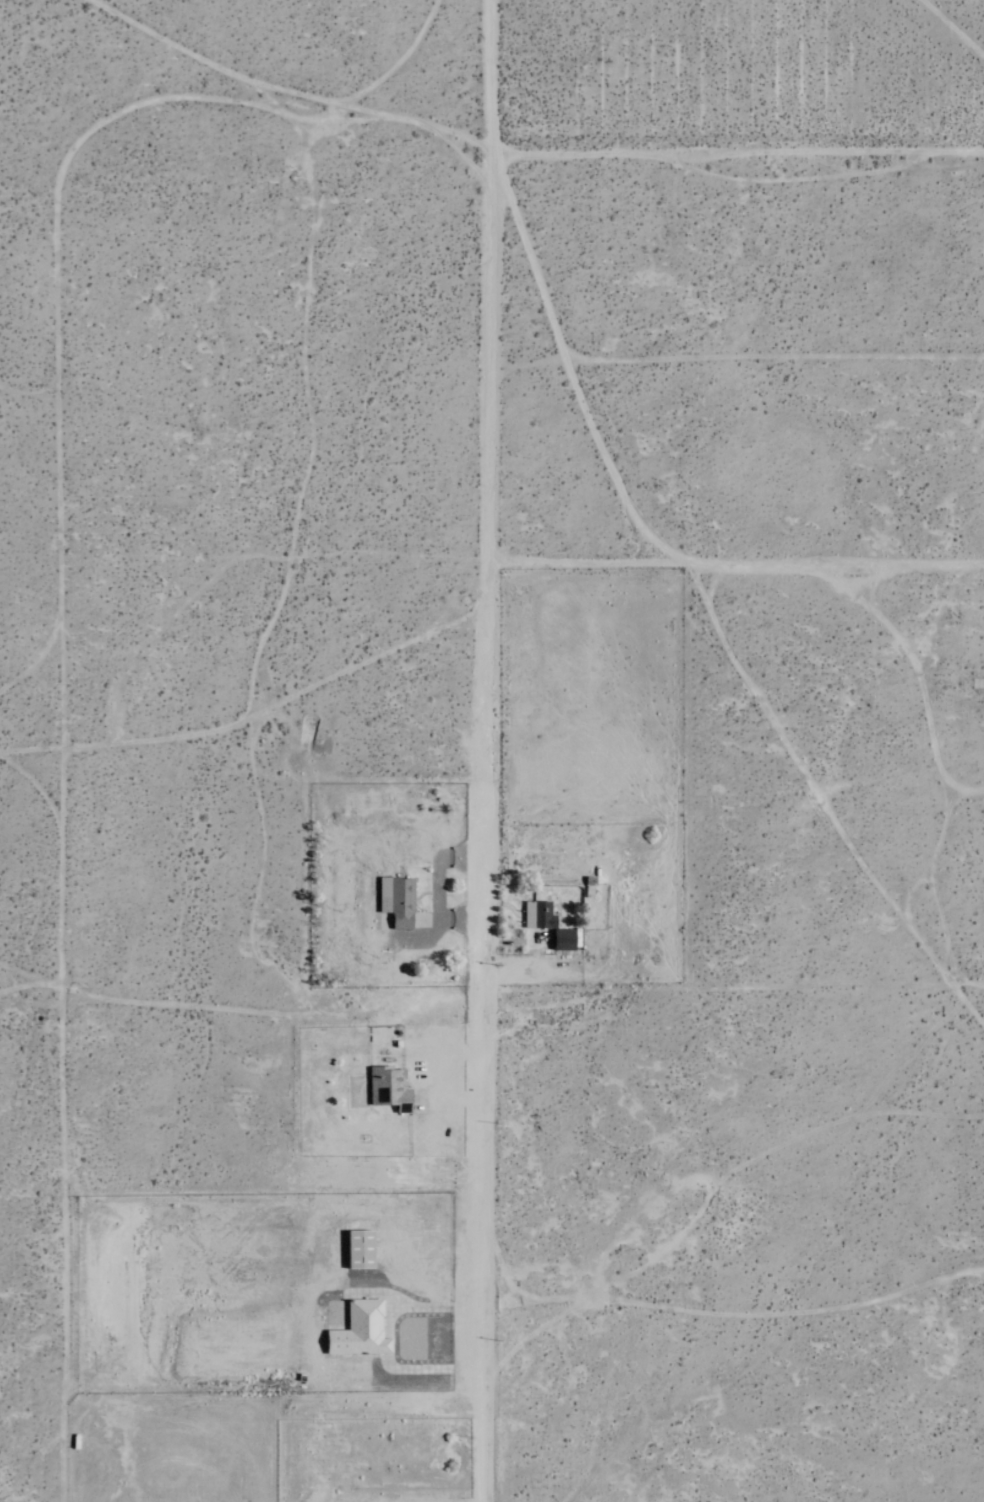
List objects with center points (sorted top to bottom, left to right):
road: (737, 149)
road: (486, 492)
road: (735, 563)
building: (396, 902)
building: (534, 915)
building: (389, 1089)
road: (480, 1243)
building: (359, 1332)

